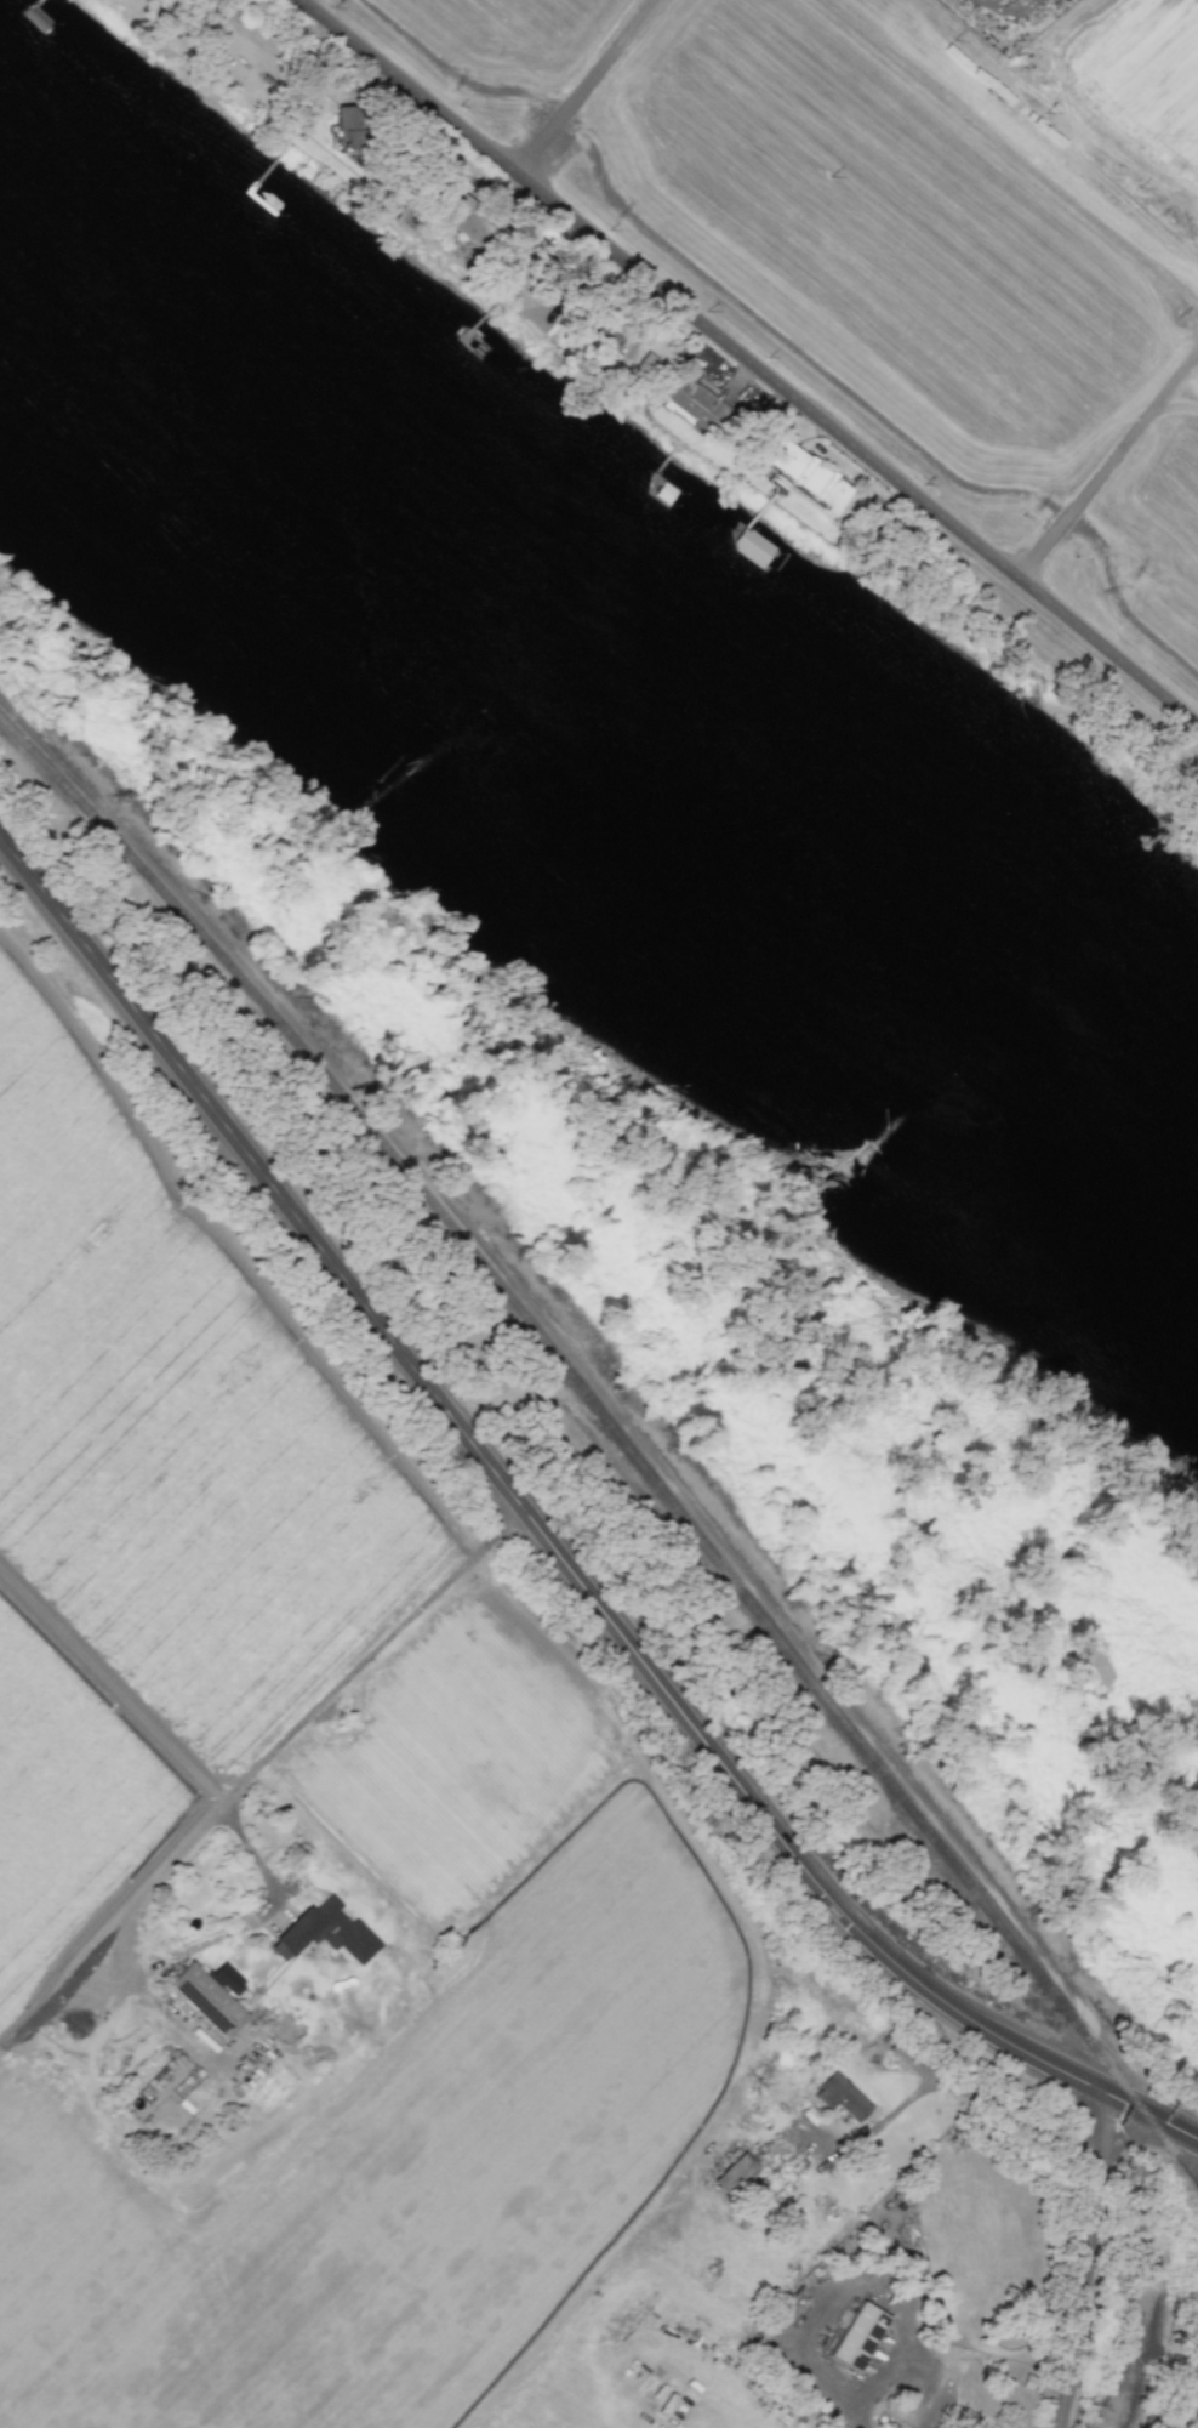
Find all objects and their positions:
road: (1010, 7)
road: (583, 87)
building: (469, 220)
building: (601, 332)
road: (751, 366)
building: (645, 368)
building: (695, 402)
building: (800, 476)
river: (577, 729)
railway: (615, 1434)
road: (549, 1545)
road: (262, 1782)
crop: (293, 1841)
building: (324, 1932)
building: (229, 1981)
building: (205, 2000)
road: (141, 2009)
road: (975, 2088)
building: (839, 2096)
building: (734, 2173)
crop: (914, 2212)
crop: (856, 2214)
road: (1089, 2259)
road: (828, 2292)
building: (857, 2336)
road: (935, 2367)
road: (1192, 2420)
building: (986, 2427)

